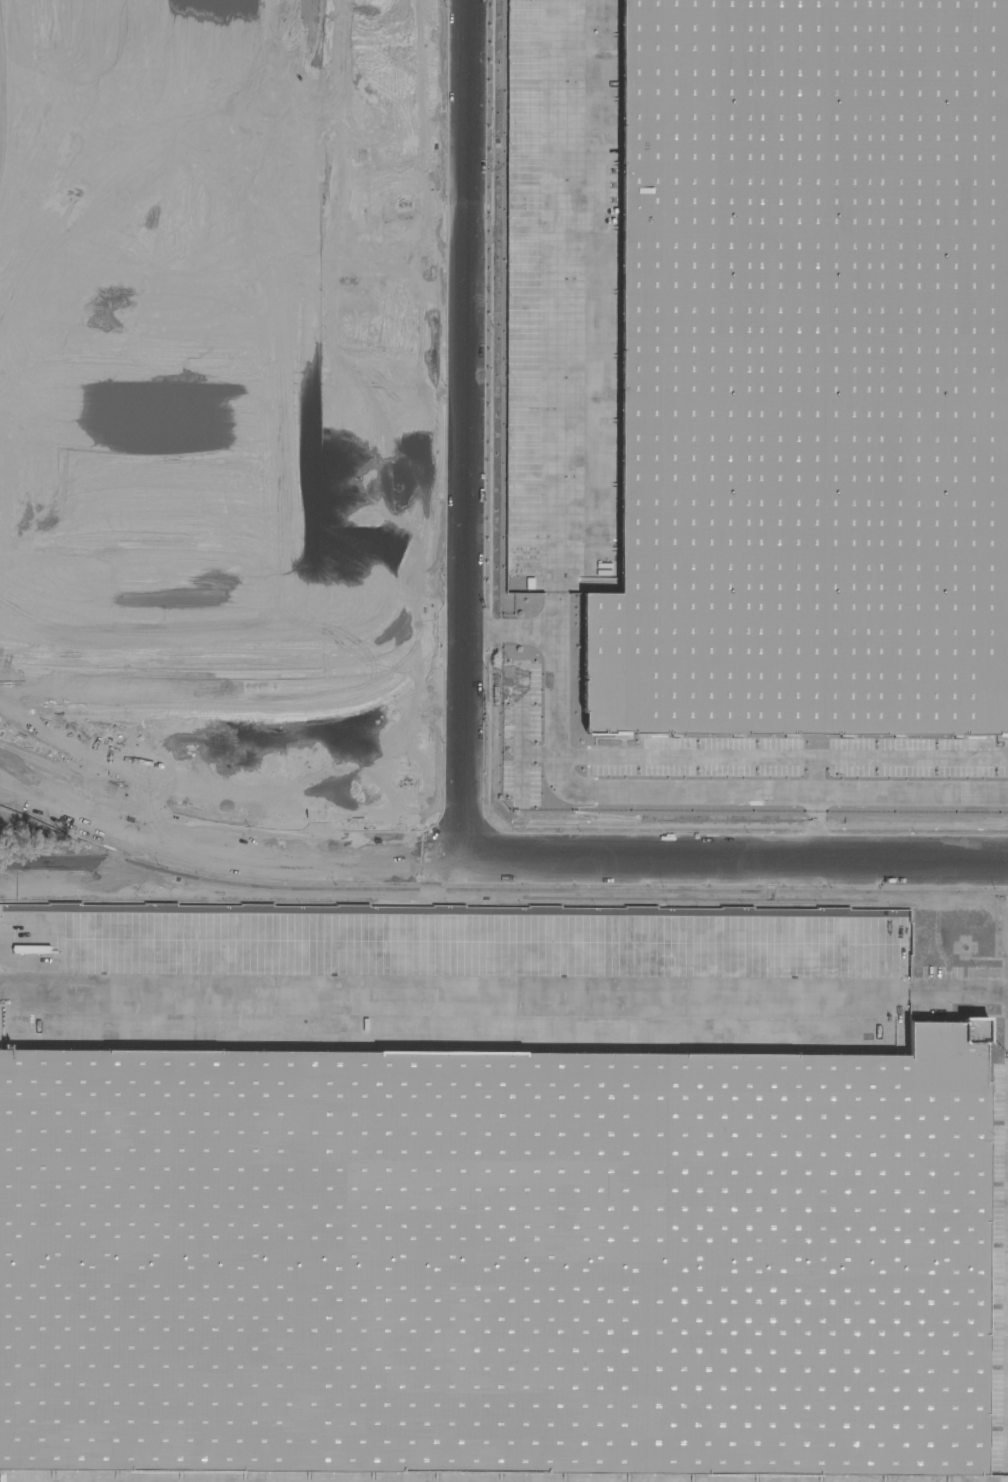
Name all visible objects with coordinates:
building: (155, 150)
building: (89, 247)
building: (154, 298)
road: (560, 314)
building: (808, 361)
building: (154, 391)
road: (463, 429)
building: (314, 464)
building: (42, 474)
building: (424, 576)
road: (507, 627)
road: (782, 758)
road: (818, 777)
road: (708, 794)
road: (818, 828)
road: (497, 859)
road: (503, 995)
building: (497, 1250)

